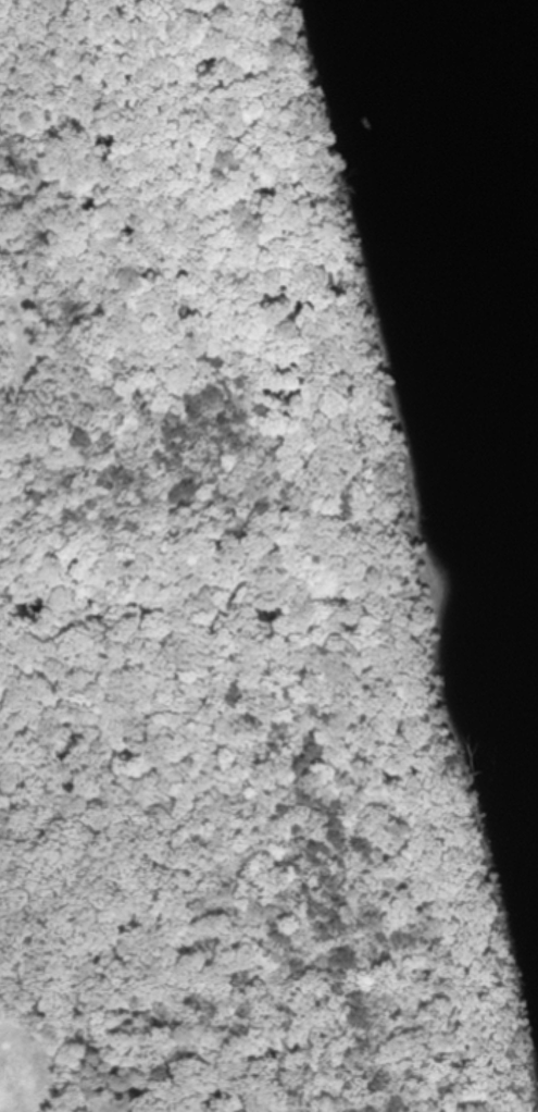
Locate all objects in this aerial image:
road: (351, 336)
park: (216, 577)
road: (209, 724)
building: (100, 1077)

